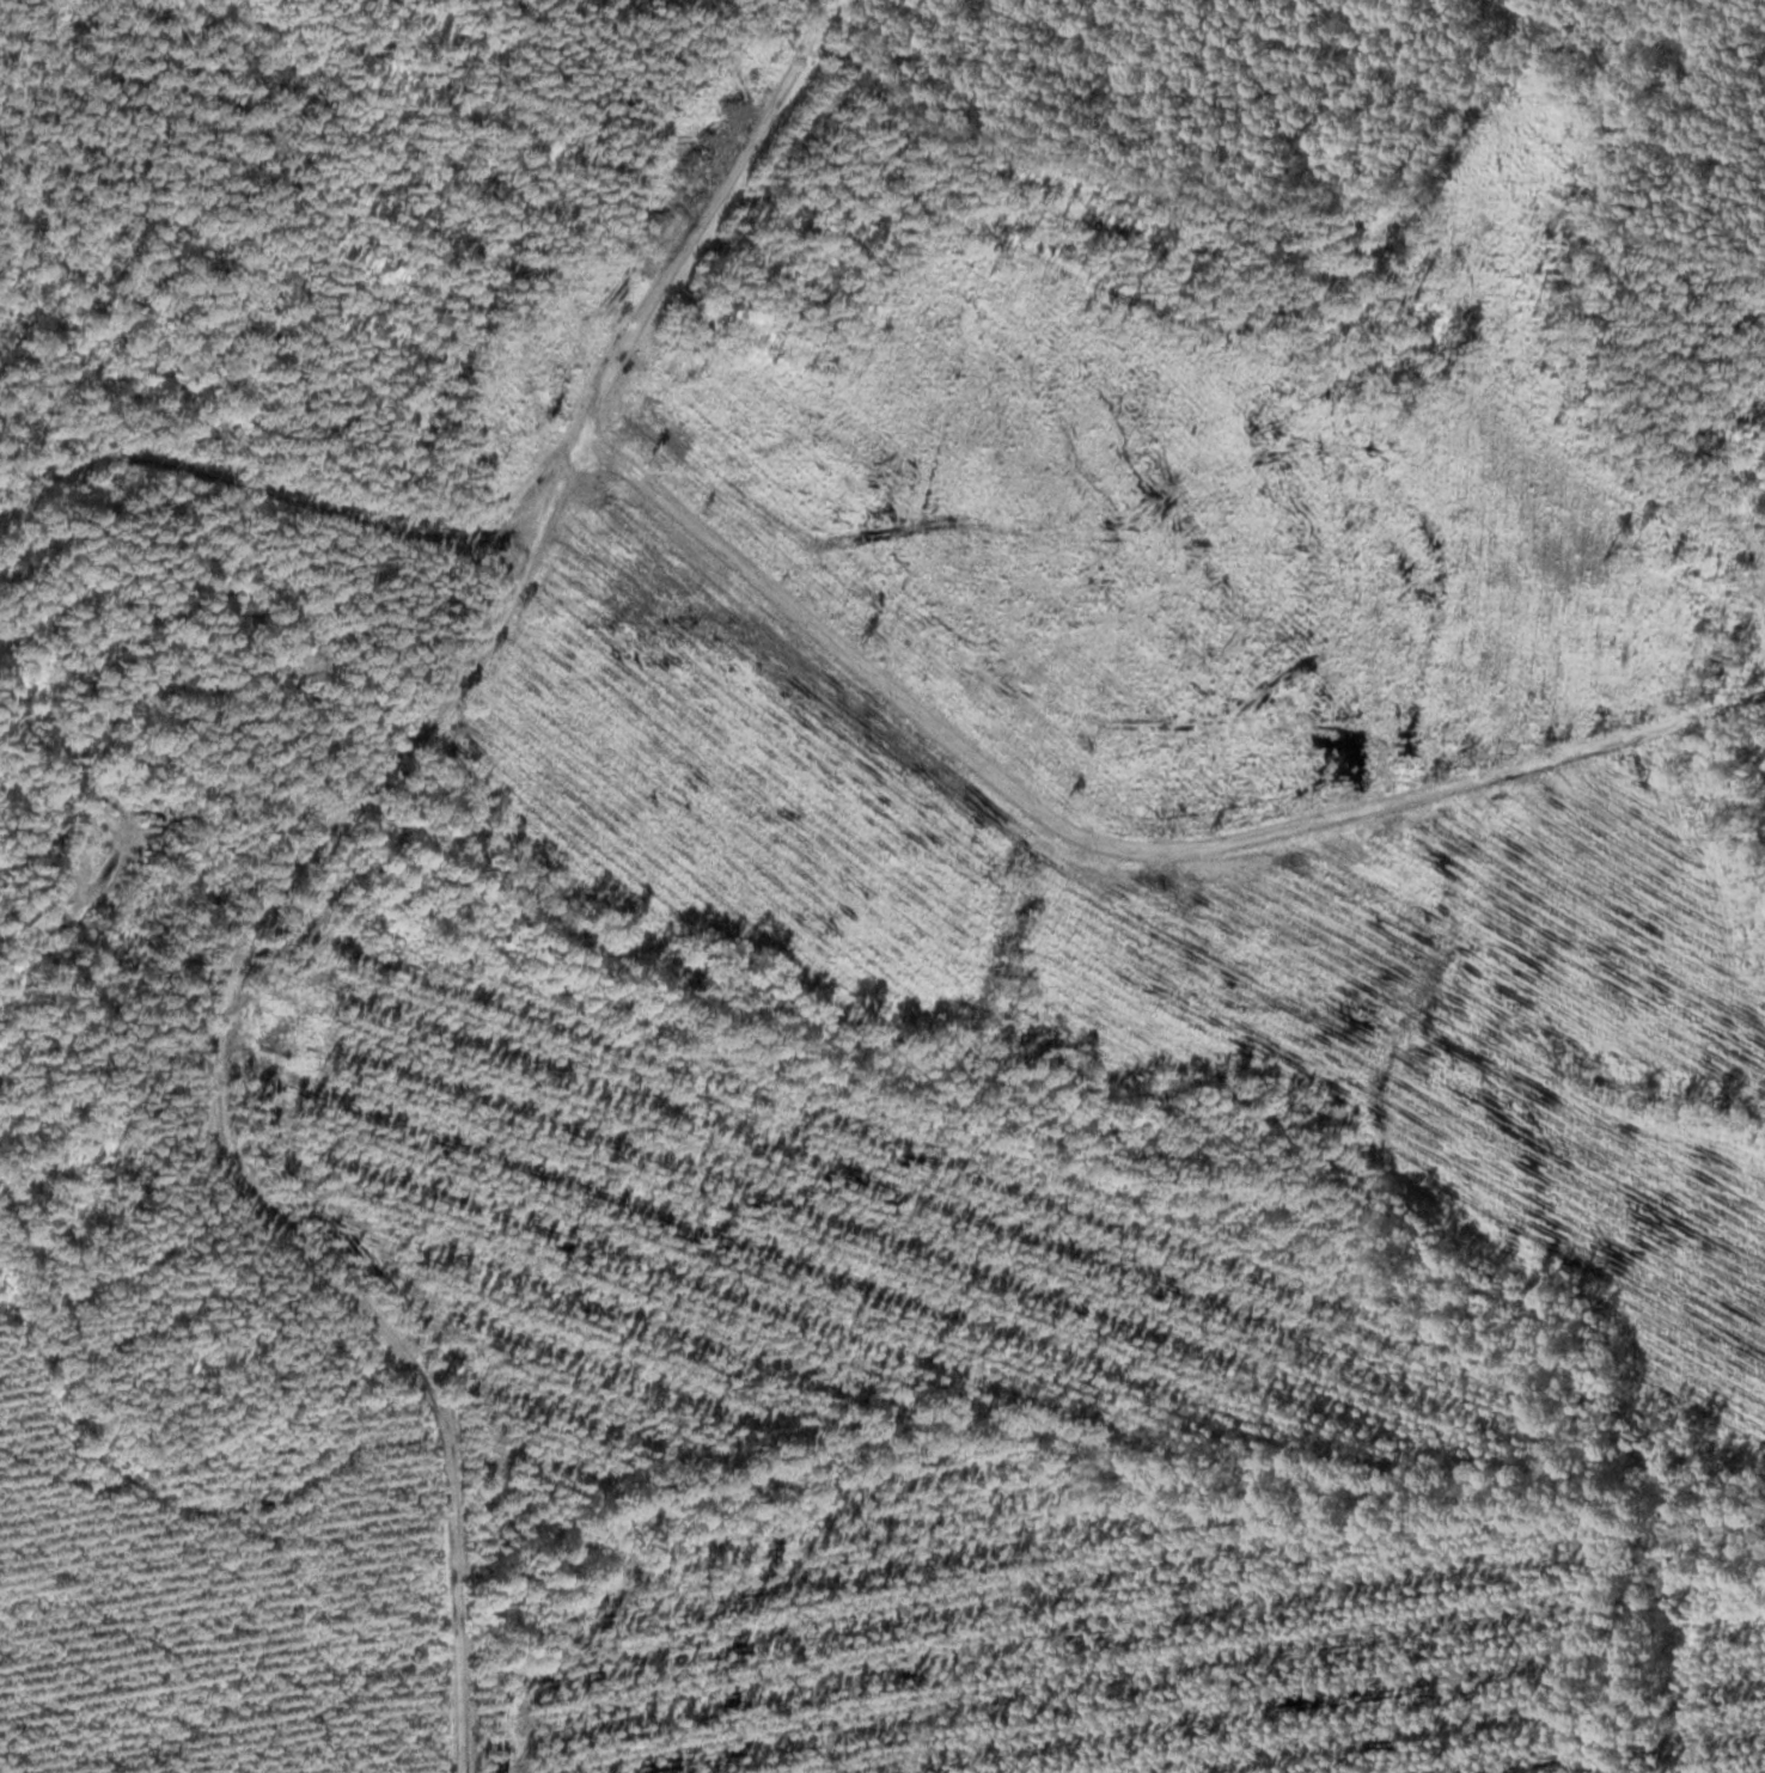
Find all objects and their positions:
road: (716, 227)
road: (548, 538)

